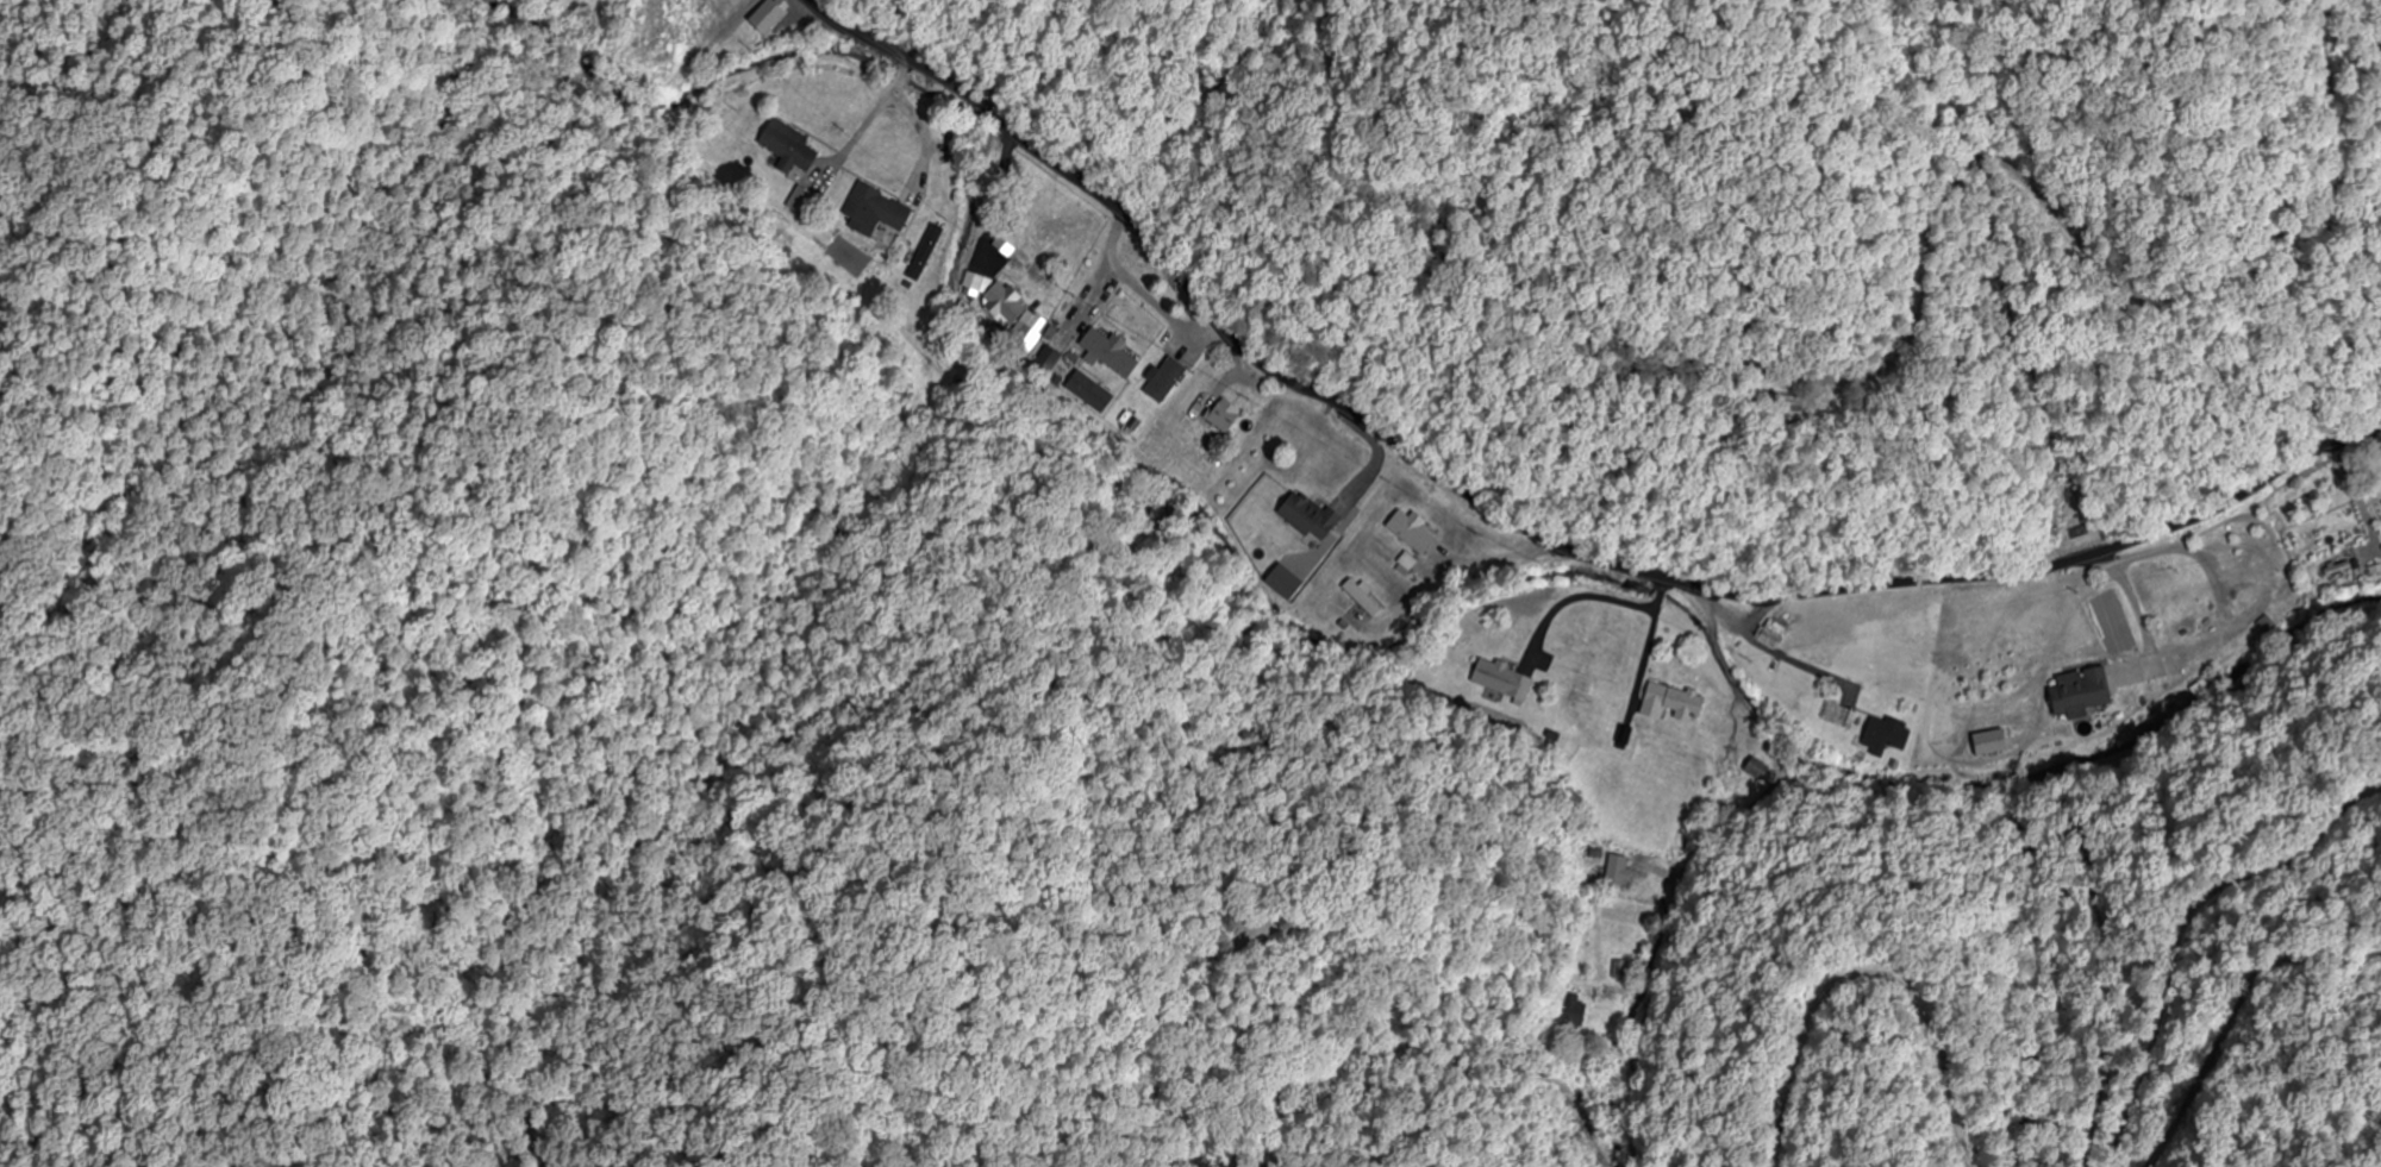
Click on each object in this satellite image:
building: (774, 18)
building: (793, 149)
building: (881, 208)
building: (929, 253)
building: (1007, 305)
building: (1113, 352)
building: (1227, 416)
building: (1312, 516)
road: (1527, 527)
building: (1416, 532)
building: (2245, 575)
building: (1358, 594)
building: (1502, 680)
building: (2076, 692)
building: (1677, 702)
building: (1845, 717)
building: (1887, 735)
building: (1987, 742)
building: (1756, 770)
building: (1626, 870)
building: (1620, 971)
building: (1576, 1014)

